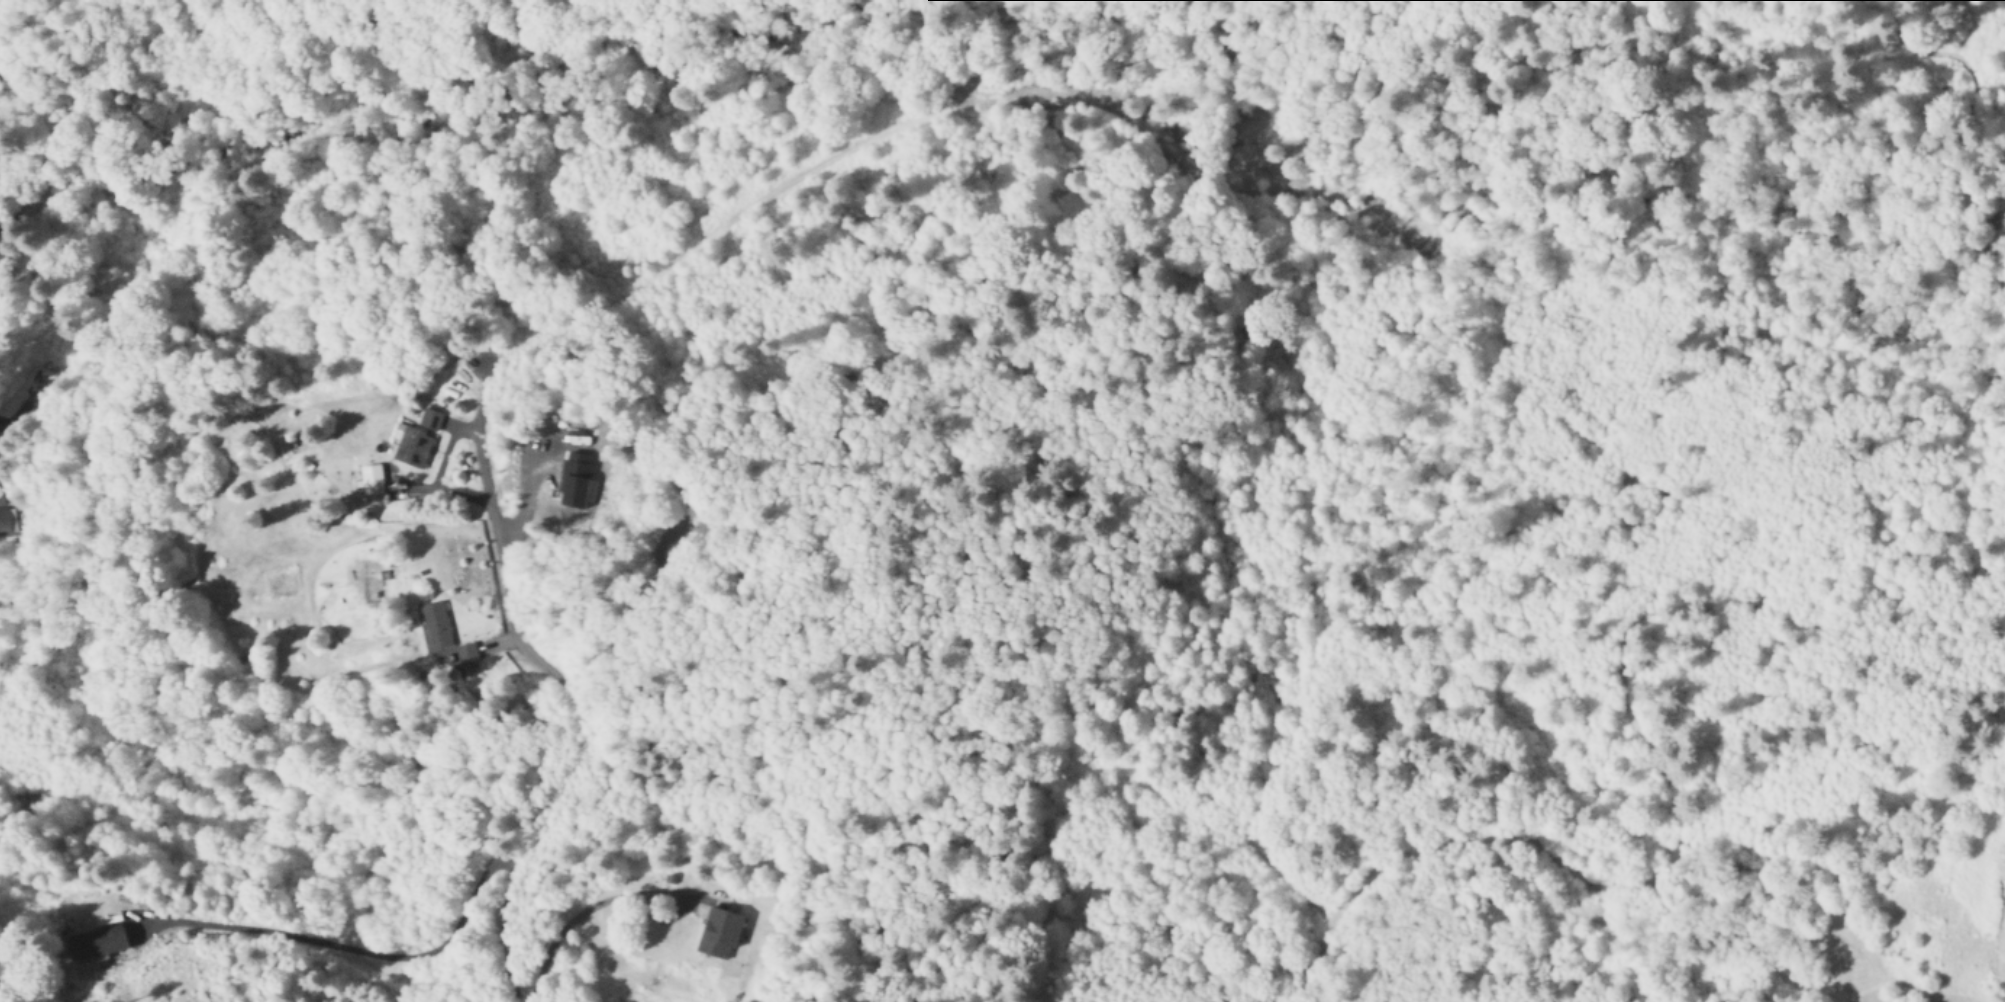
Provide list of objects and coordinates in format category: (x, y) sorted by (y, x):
building: (430, 417)
building: (413, 445)
building: (373, 485)
building: (5, 524)
building: (437, 625)
building: (468, 654)
road: (583, 718)
road: (583, 915)
building: (720, 934)
building: (96, 944)
road: (343, 946)

